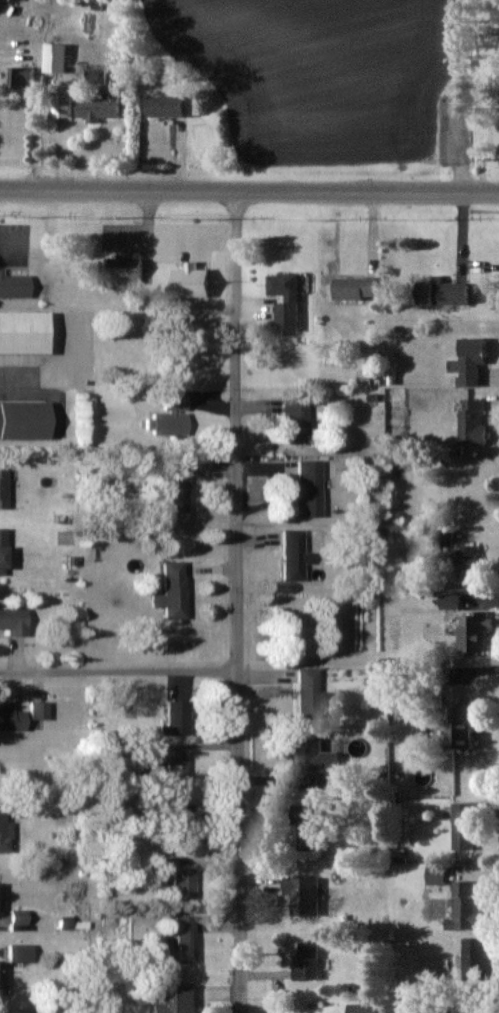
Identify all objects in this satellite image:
building: (54, 58)
building: (20, 76)
building: (99, 104)
building: (60, 105)
building: (163, 106)
building: (191, 106)
road: (249, 191)
building: (123, 266)
building: (13, 286)
building: (353, 288)
building: (439, 293)
building: (281, 302)
building: (24, 334)
building: (467, 362)
building: (169, 417)
building: (21, 420)
building: (296, 421)
building: (471, 421)
building: (2, 488)
building: (309, 488)
building: (175, 490)
building: (1, 551)
building: (293, 555)
building: (465, 566)
building: (171, 592)
road: (239, 601)
building: (447, 601)
building: (12, 621)
building: (470, 635)
road: (120, 672)
building: (308, 693)
building: (37, 710)
building: (175, 717)
building: (11, 719)
building: (456, 726)
building: (314, 753)
building: (174, 772)
building: (463, 826)
building: (306, 827)
building: (4, 831)
building: (178, 879)
building: (1, 900)
building: (464, 907)
building: (181, 942)
building: (18, 953)
building: (474, 957)
building: (306, 961)
building: (0, 978)
building: (177, 1000)

